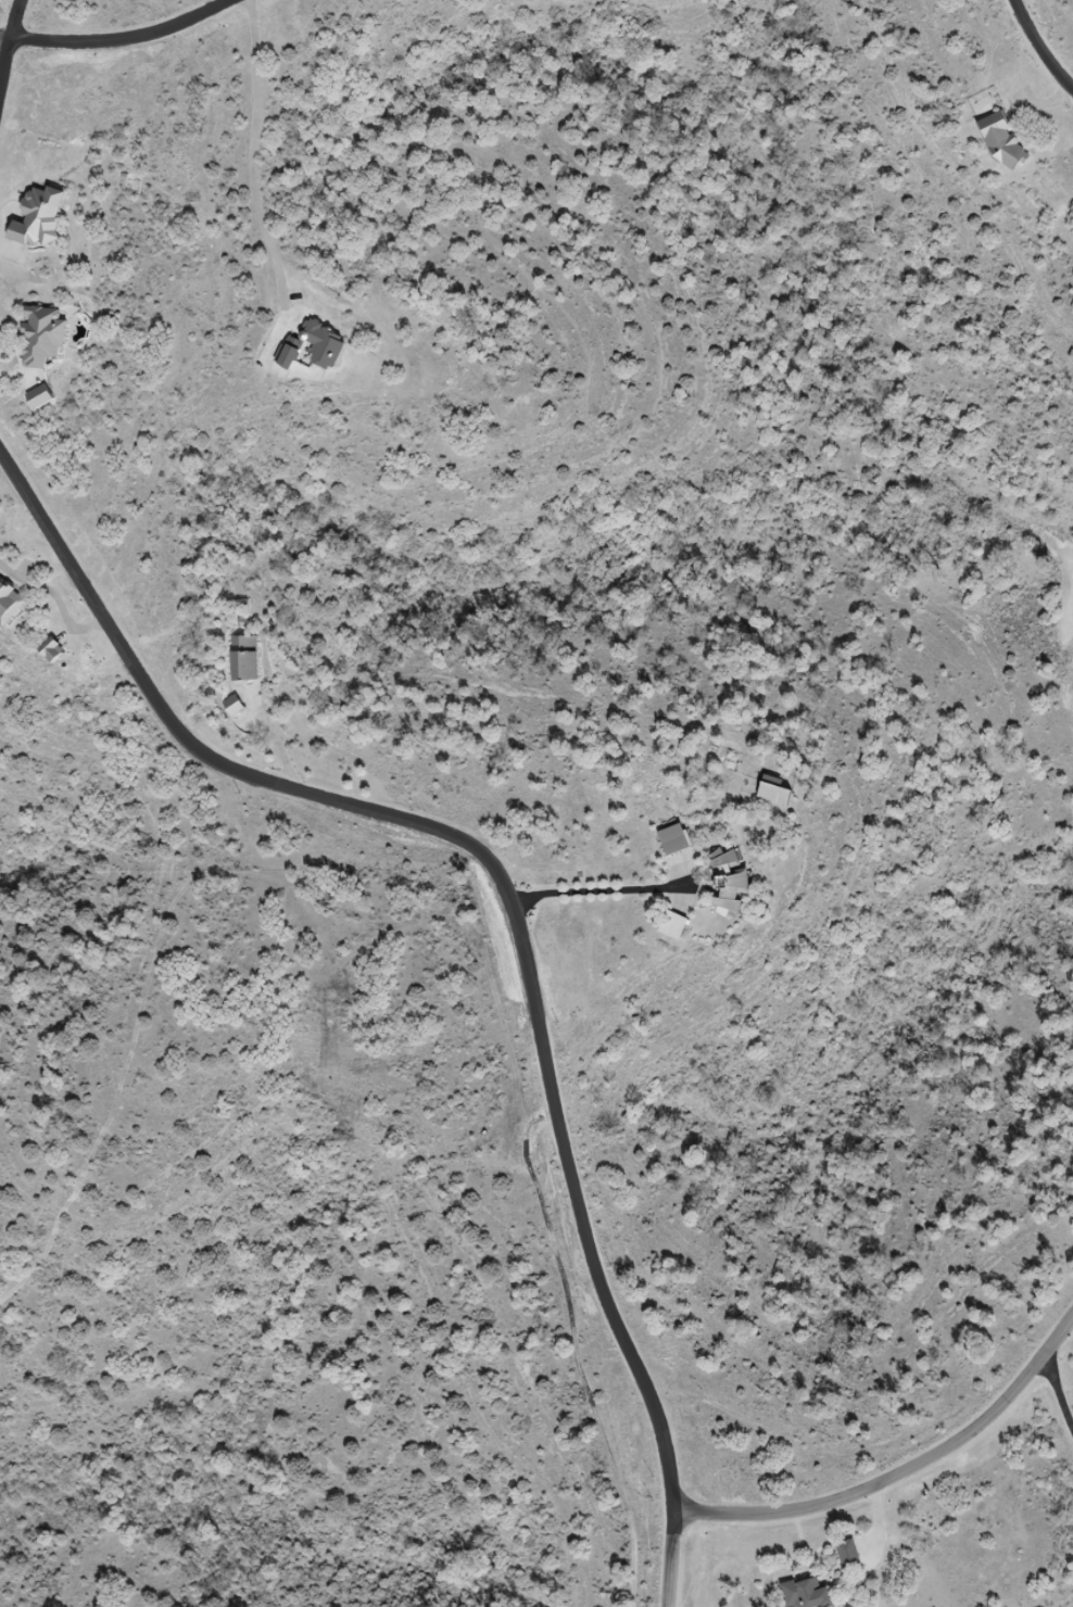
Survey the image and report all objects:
road: (117, 33)
road: (7, 40)
road: (1038, 48)
building: (1003, 142)
road: (252, 173)
building: (40, 217)
road: (1, 237)
building: (42, 338)
building: (313, 349)
building: (39, 400)
road: (58, 599)
building: (9, 603)
building: (52, 649)
building: (244, 658)
building: (232, 706)
road: (272, 739)
building: (774, 790)
building: (673, 839)
building: (730, 881)
road: (599, 890)
road: (512, 907)
building: (673, 925)
road: (1058, 1394)
road: (900, 1473)
building: (849, 1556)
building: (807, 1594)

